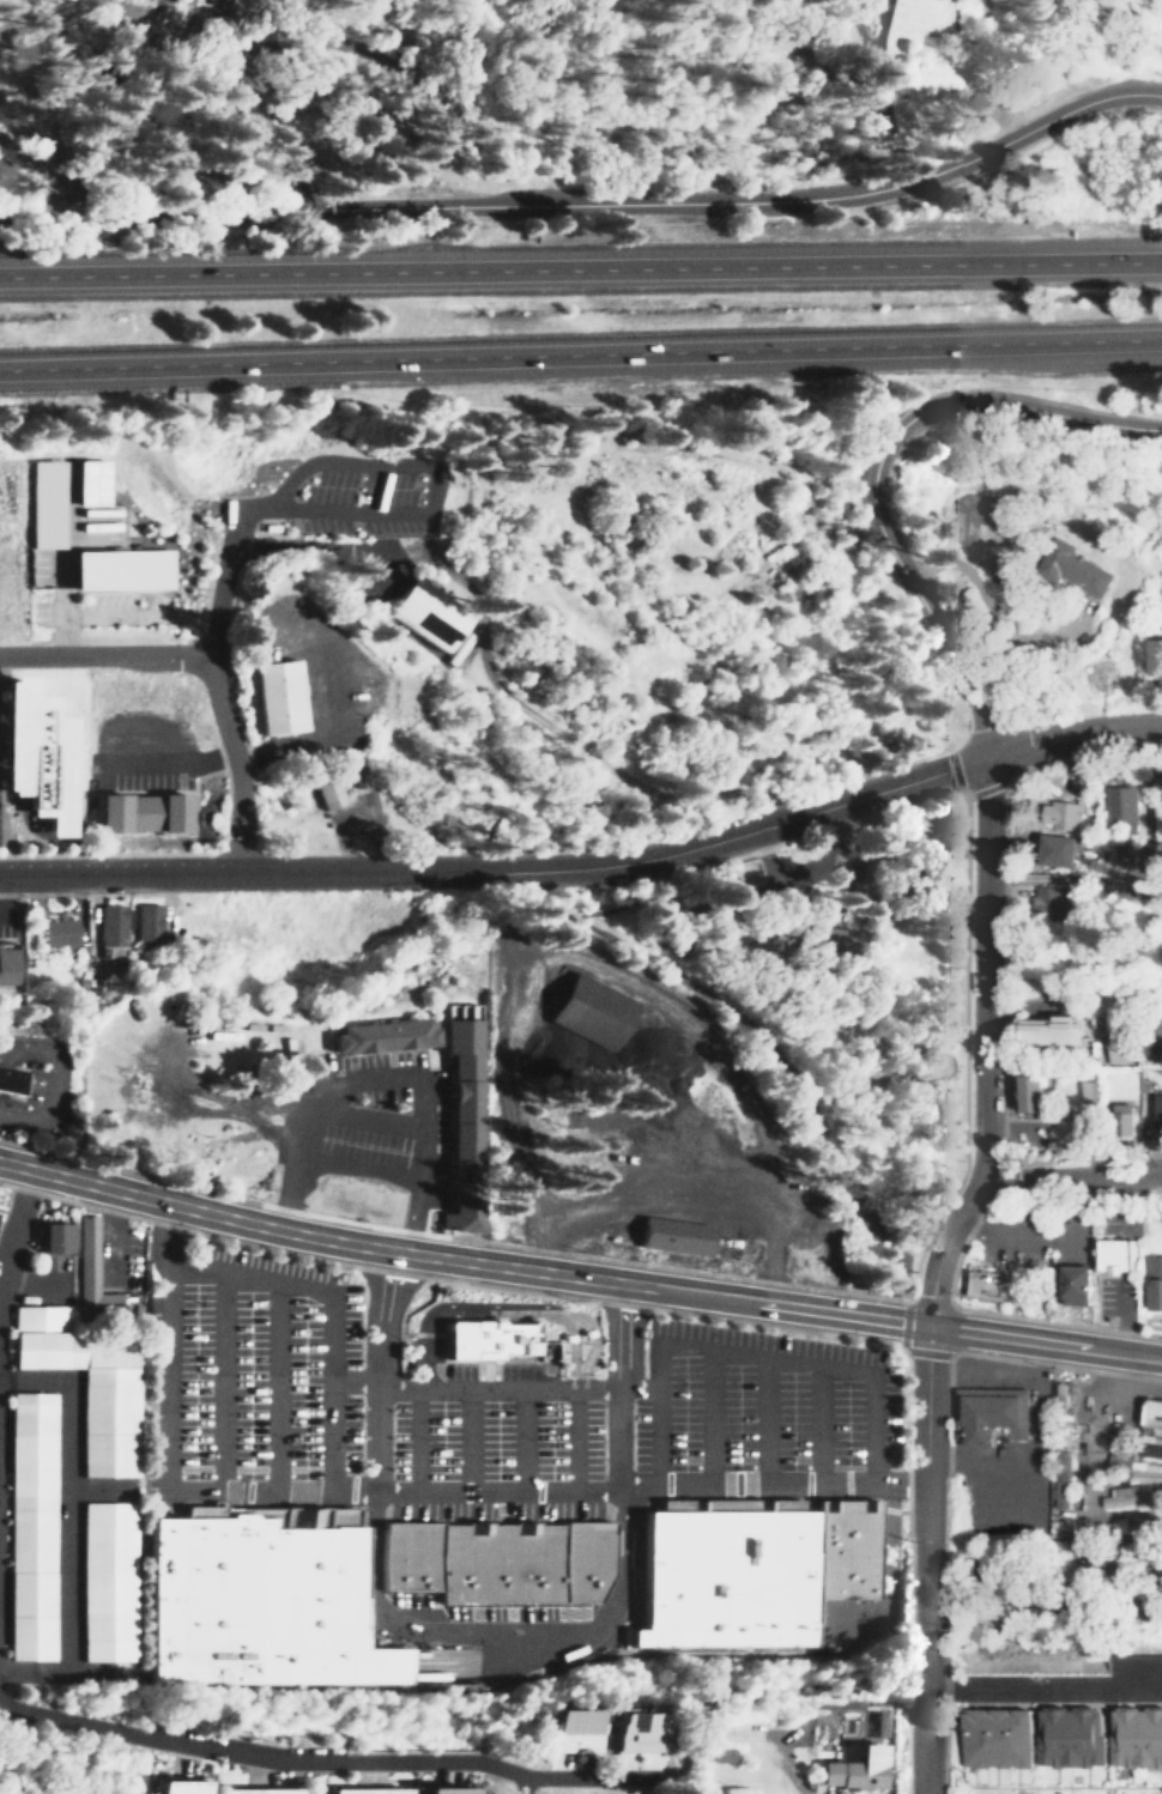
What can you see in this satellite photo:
building: (193, 1)
park: (1069, 11)
park: (659, 80)
road: (883, 91)
road: (591, 204)
road: (580, 266)
road: (580, 352)
road: (865, 463)
building: (81, 485)
road: (429, 499)
building: (36, 505)
parking lot: (359, 508)
building: (982, 514)
building: (268, 528)
building: (1065, 563)
pier: (1001, 569)
building: (113, 571)
road: (220, 587)
road: (985, 606)
building: (425, 614)
park: (679, 629)
building: (1150, 656)
road: (206, 667)
building: (271, 698)
building: (30, 759)
road: (159, 763)
parking lot: (139, 771)
building: (1156, 776)
building: (323, 789)
building: (1116, 802)
building: (169, 812)
building: (1060, 812)
building: (108, 813)
road: (706, 843)
building: (1057, 849)
building: (1155, 861)
building: (937, 866)
road: (119, 874)
building: (1049, 903)
building: (149, 922)
building: (113, 925)
building: (59, 933)
building: (824, 941)
building: (7, 964)
road: (986, 965)
road: (842, 992)
park: (828, 1002)
building: (588, 1011)
building: (1160, 1028)
building: (456, 1030)
building: (1052, 1030)
building: (379, 1034)
road: (757, 1042)
building: (1120, 1050)
building: (6, 1079)
road: (54, 1085)
building: (1088, 1091)
building: (1031, 1093)
building: (1121, 1119)
building: (1156, 1119)
building: (1066, 1131)
building: (459, 1164)
road: (1072, 1172)
road: (14, 1231)
building: (666, 1232)
road: (940, 1243)
building: (1109, 1253)
building: (74, 1254)
road: (577, 1275)
building: (1152, 1280)
building: (985, 1284)
building: (1067, 1284)
road: (491, 1304)
road: (328, 1307)
building: (482, 1340)
road: (743, 1353)
road: (375, 1371)
road: (222, 1380)
building: (84, 1383)
road: (616, 1386)
road: (1114, 1386)
road: (276, 1387)
road: (490, 1388)
building: (1058, 1393)
building: (1149, 1410)
building: (986, 1416)
road: (709, 1418)
road: (764, 1422)
road: (817, 1425)
road: (412, 1441)
road: (467, 1441)
road: (522, 1441)
road: (575, 1441)
building: (1144, 1472)
building: (1063, 1479)
road: (400, 1493)
building: (1126, 1496)
road: (1084, 1525)
building: (29, 1526)
building: (1133, 1526)
road: (925, 1559)
building: (500, 1562)
building: (749, 1570)
building: (107, 1581)
building: (261, 1605)
road: (761, 1687)
building: (573, 1731)
building: (637, 1731)
building: (1132, 1735)
building: (1061, 1737)
building: (988, 1743)
road: (319, 1760)
building: (843, 1772)
building: (175, 1786)
building: (255, 1790)
building: (363, 1790)
building: (447, 1790)

